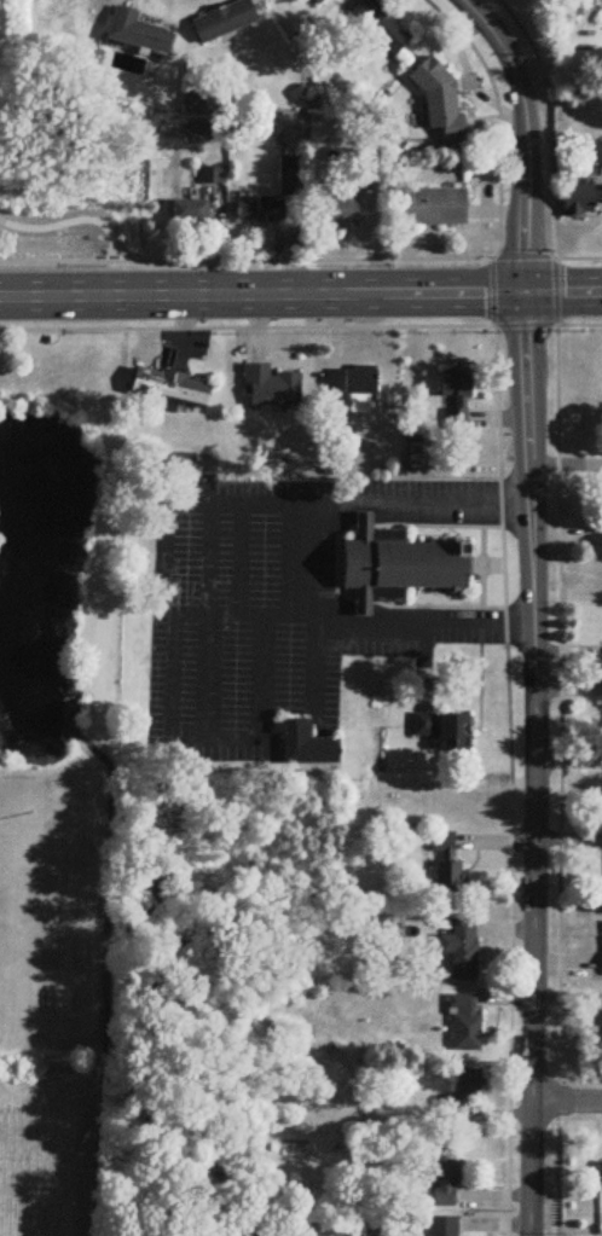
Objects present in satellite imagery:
building: (319, 2)
building: (225, 23)
building: (380, 28)
building: (138, 33)
building: (440, 103)
road: (497, 115)
road: (545, 122)
road: (525, 135)
building: (581, 201)
building: (434, 209)
building: (260, 210)
building: (341, 213)
building: (191, 214)
road: (76, 226)
road: (5, 227)
park: (58, 231)
road: (522, 255)
road: (577, 259)
road: (247, 261)
road: (300, 295)
road: (579, 324)
road: (522, 325)
road: (245, 327)
building: (359, 383)
building: (456, 385)
building: (271, 388)
building: (170, 389)
road: (499, 399)
building: (458, 419)
building: (180, 465)
road: (502, 499)
road: (507, 500)
road: (209, 503)
road: (439, 522)
building: (393, 559)
road: (484, 563)
road: (505, 564)
road: (282, 596)
parking lot: (273, 598)
road: (429, 603)
road: (494, 604)
road: (388, 620)
road: (511, 620)
road: (508, 626)
building: (424, 689)
building: (444, 731)
building: (303, 738)
road: (534, 764)
park: (57, 770)
road: (562, 782)
road: (16, 817)
building: (444, 843)
building: (450, 877)
road: (514, 898)
park: (34, 906)
building: (462, 950)
building: (465, 1026)
building: (464, 1092)
road: (567, 1103)
building: (442, 1174)
building: (600, 1178)
road: (508, 1193)
building: (444, 1228)

